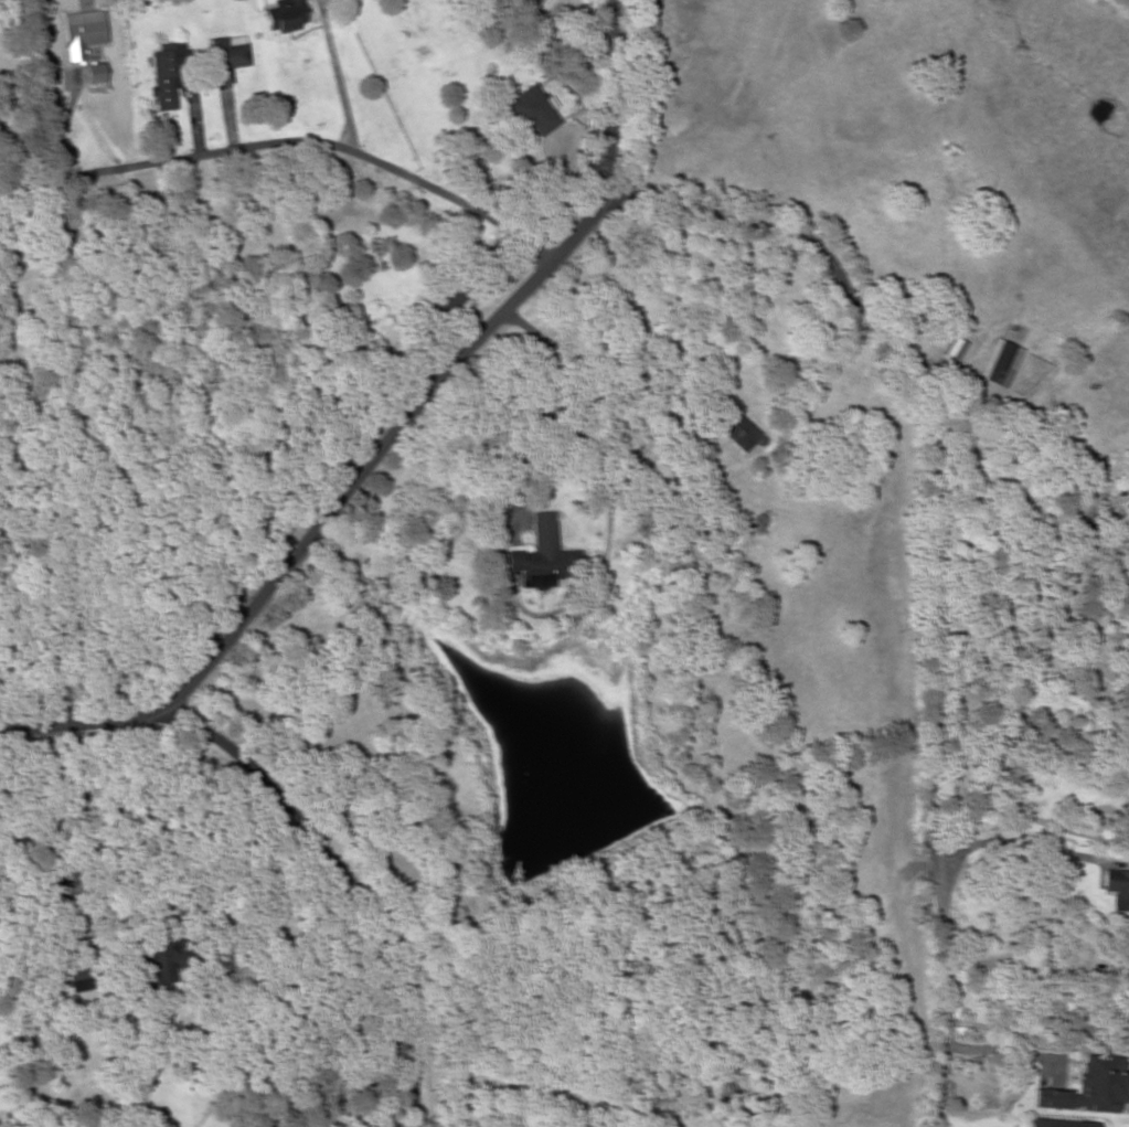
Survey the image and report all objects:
building: (286, 15)
building: (83, 33)
building: (227, 57)
building: (168, 74)
building: (532, 111)
road: (288, 138)
building: (441, 306)
building: (1001, 363)
building: (731, 428)
road: (391, 433)
road: (940, 444)
building: (541, 552)
road: (988, 795)
road: (347, 889)
building: (1118, 889)
building: (164, 955)
building: (1126, 961)
building: (81, 969)
building: (1121, 1030)
building: (1062, 1123)

